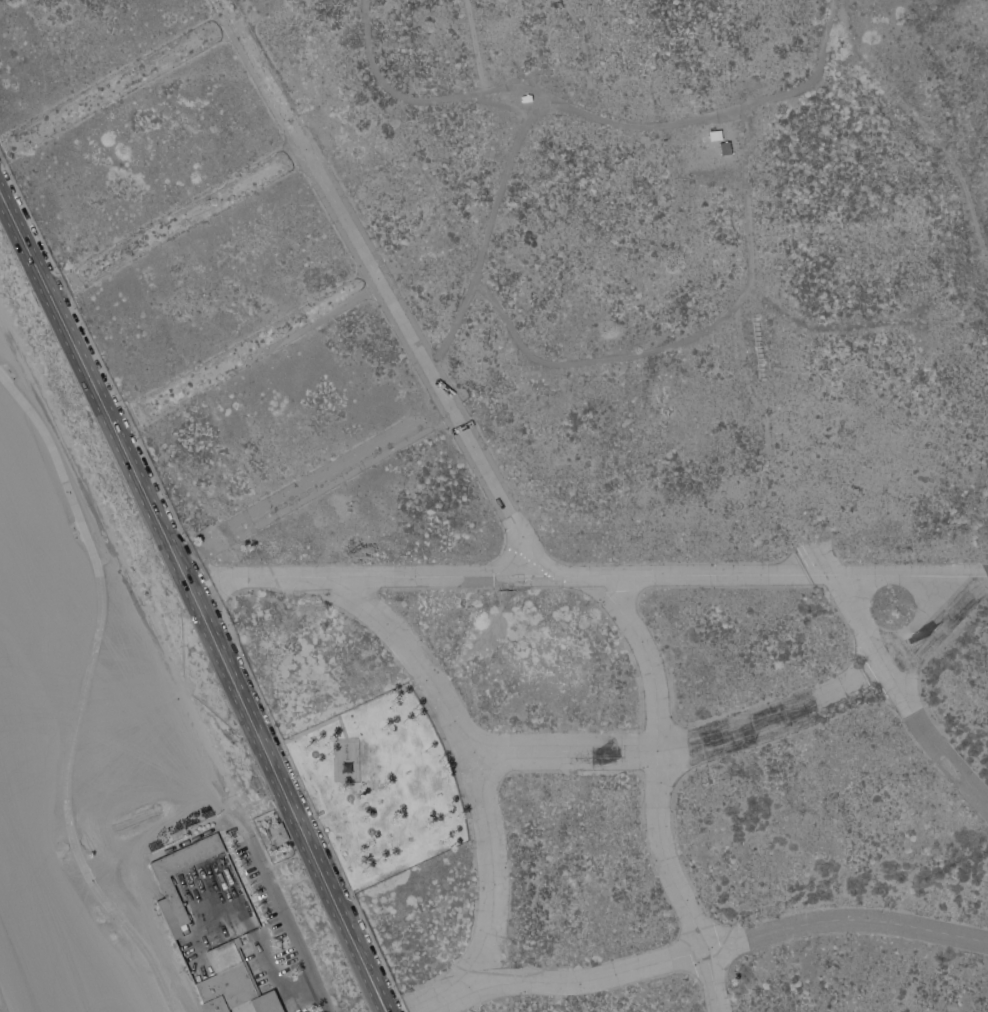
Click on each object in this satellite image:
road: (474, 45)
road: (584, 55)
building: (524, 96)
road: (516, 110)
road: (594, 115)
road: (923, 124)
building: (714, 134)
building: (724, 147)
road: (24, 243)
road: (483, 243)
road: (691, 336)
road: (80, 360)
road: (423, 360)
road: (322, 479)
road: (145, 494)
road: (182, 573)
road: (983, 574)
road: (593, 575)
road: (197, 580)
road: (858, 621)
road: (934, 624)
road: (166, 660)
road: (84, 694)
road: (931, 741)
road: (685, 749)
road: (478, 780)
park: (381, 787)
road: (658, 793)
road: (285, 798)
building: (279, 832)
building: (173, 897)
road: (721, 944)
building: (234, 982)

